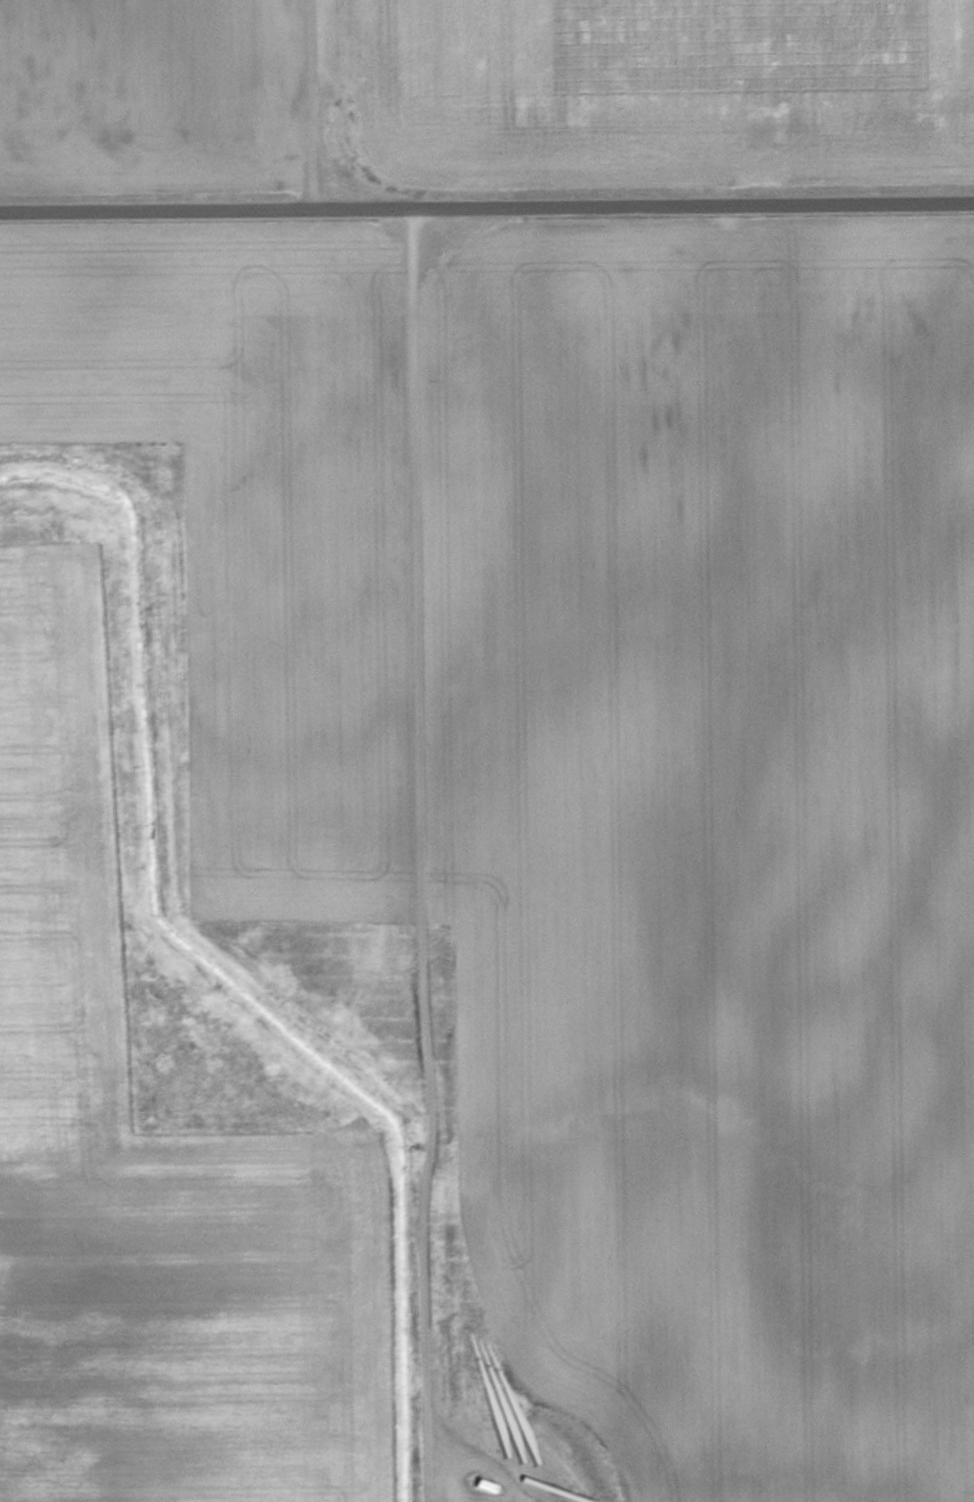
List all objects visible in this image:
road: (487, 209)

